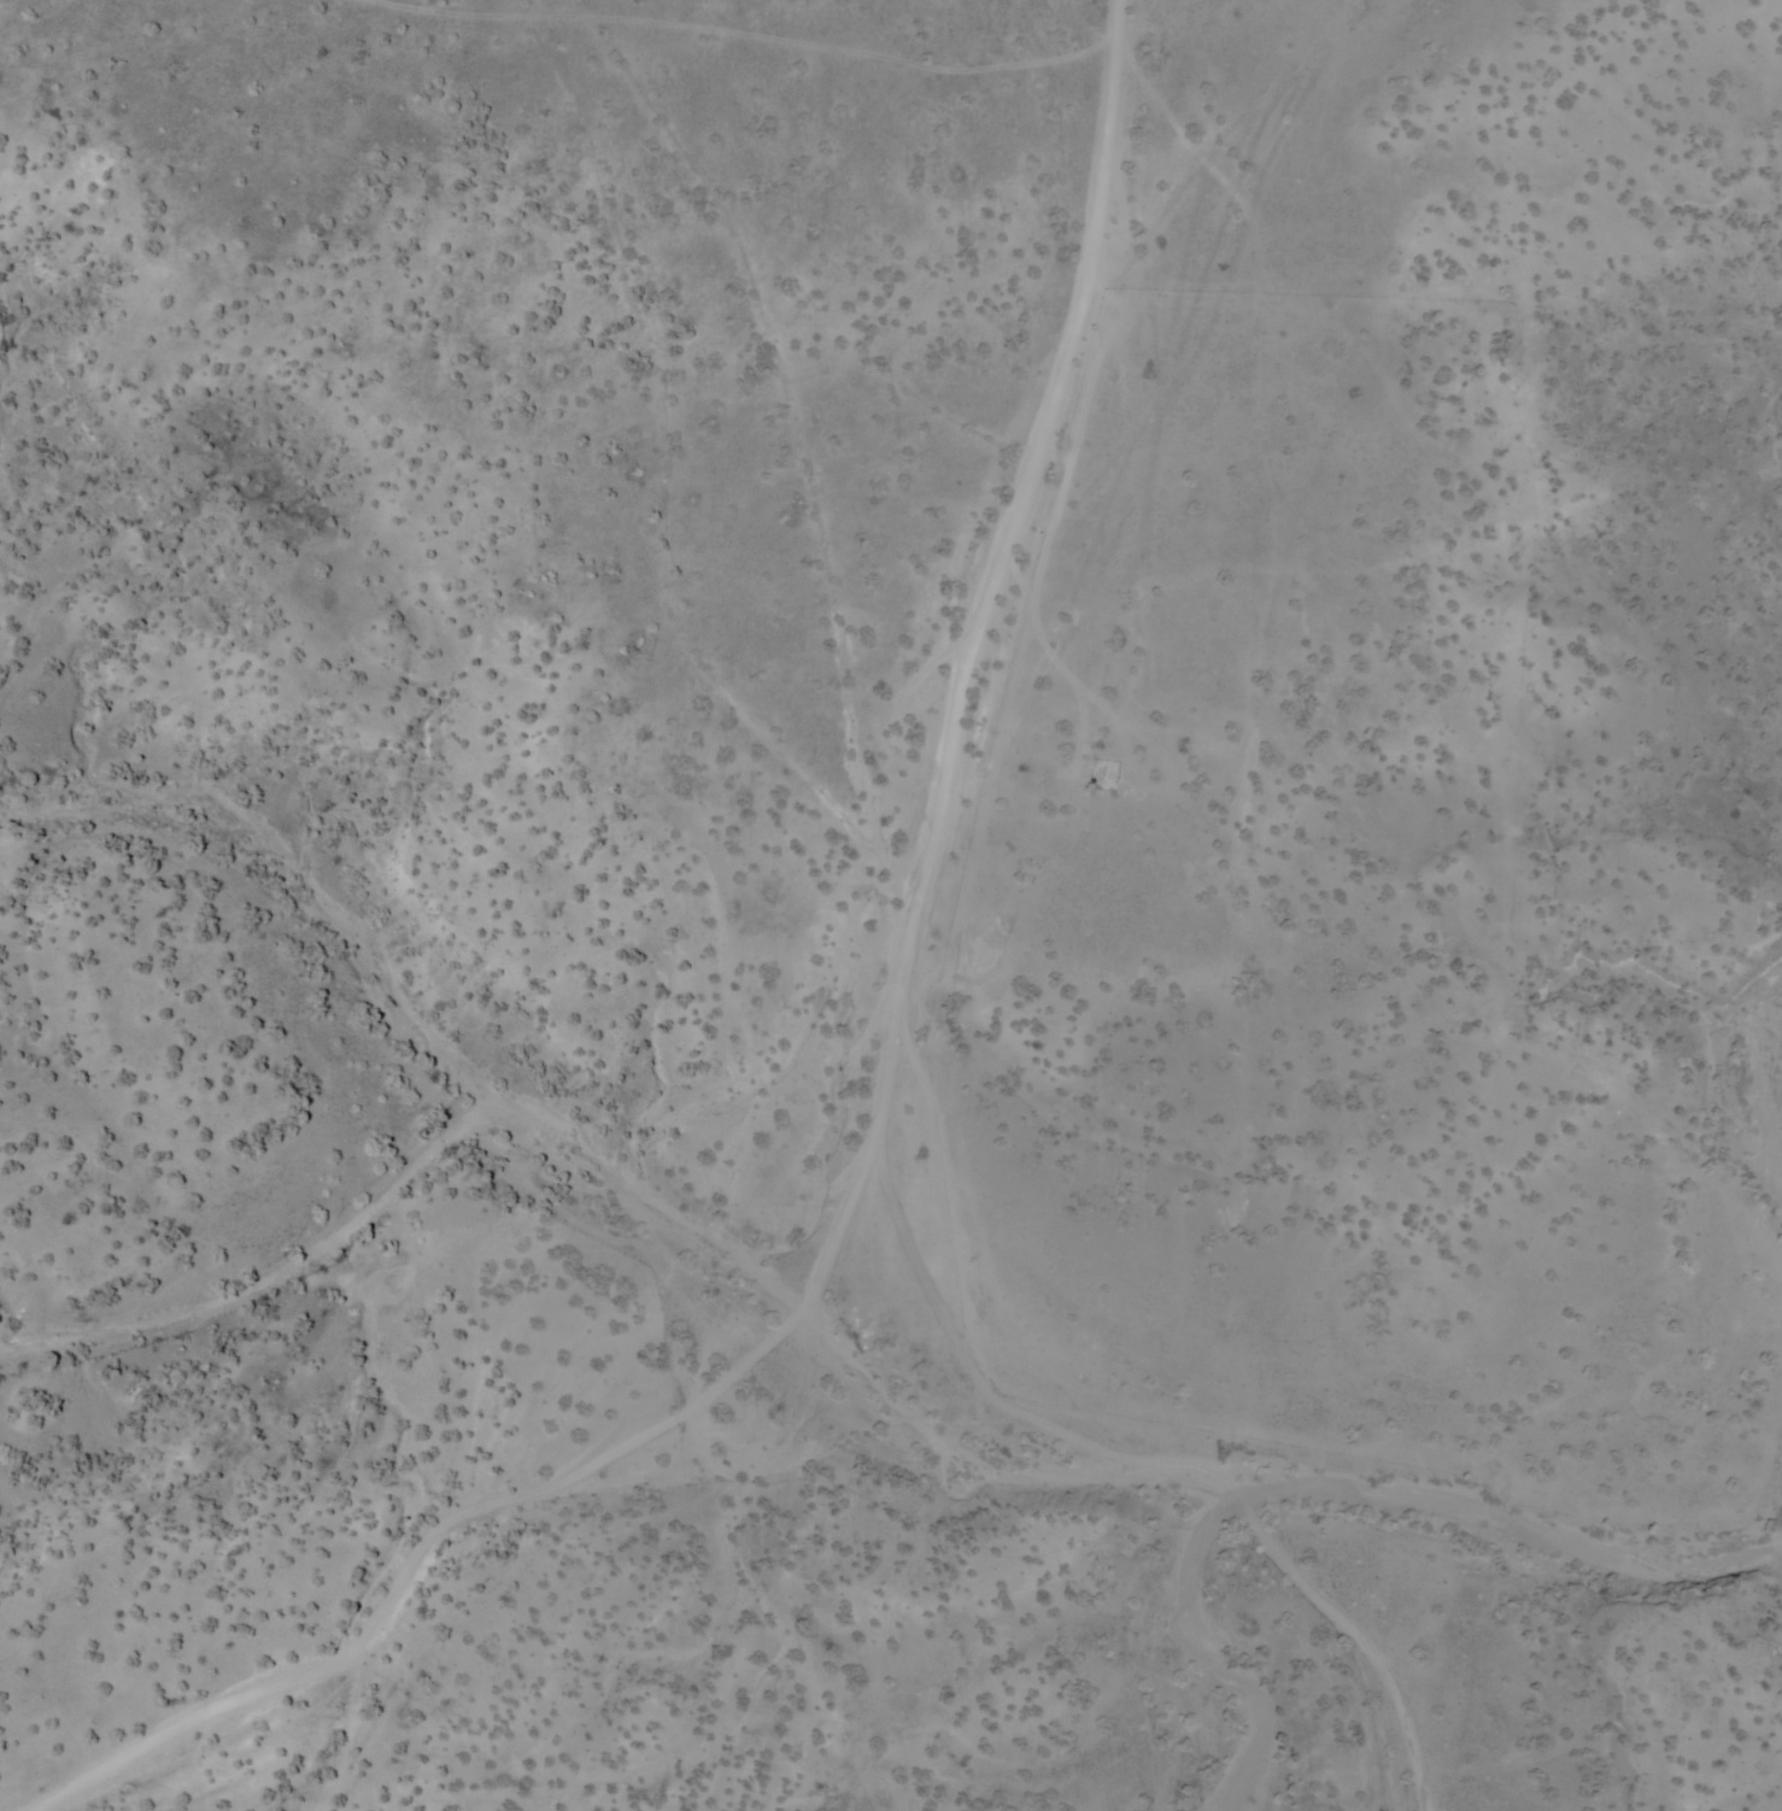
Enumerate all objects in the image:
road: (1340, 101)
road: (899, 1098)

